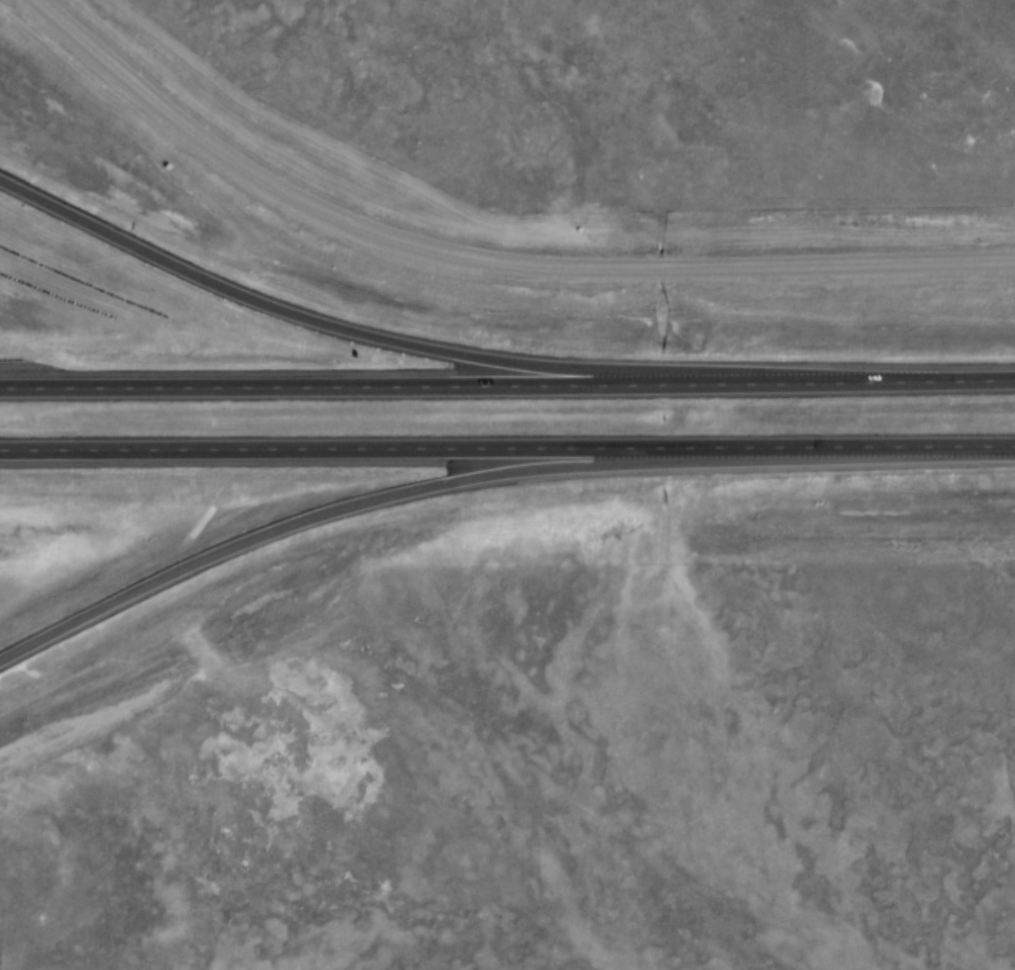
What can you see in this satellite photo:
road: (483, 263)
road: (322, 325)
road: (507, 388)
road: (507, 452)
road: (422, 493)

